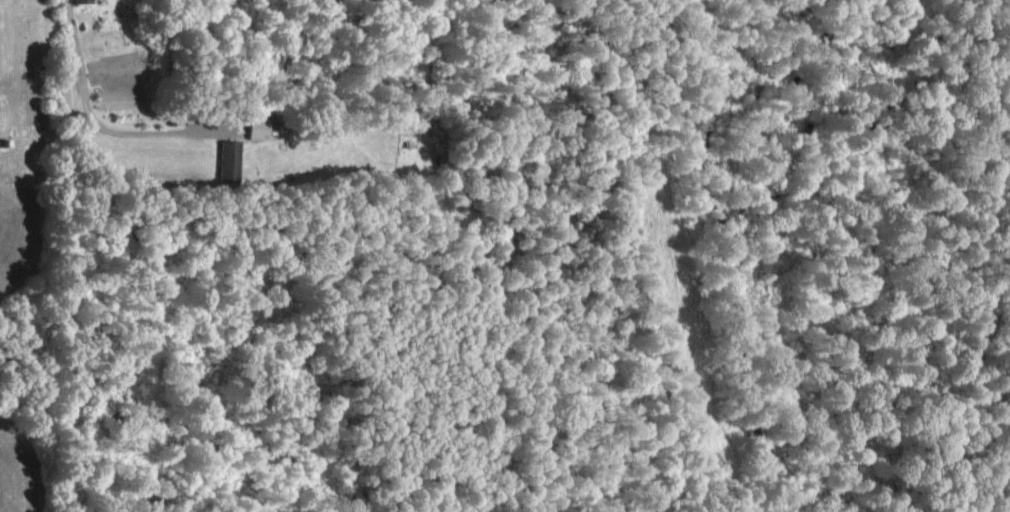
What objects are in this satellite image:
building: (79, 0)
building: (256, 128)
building: (227, 159)

